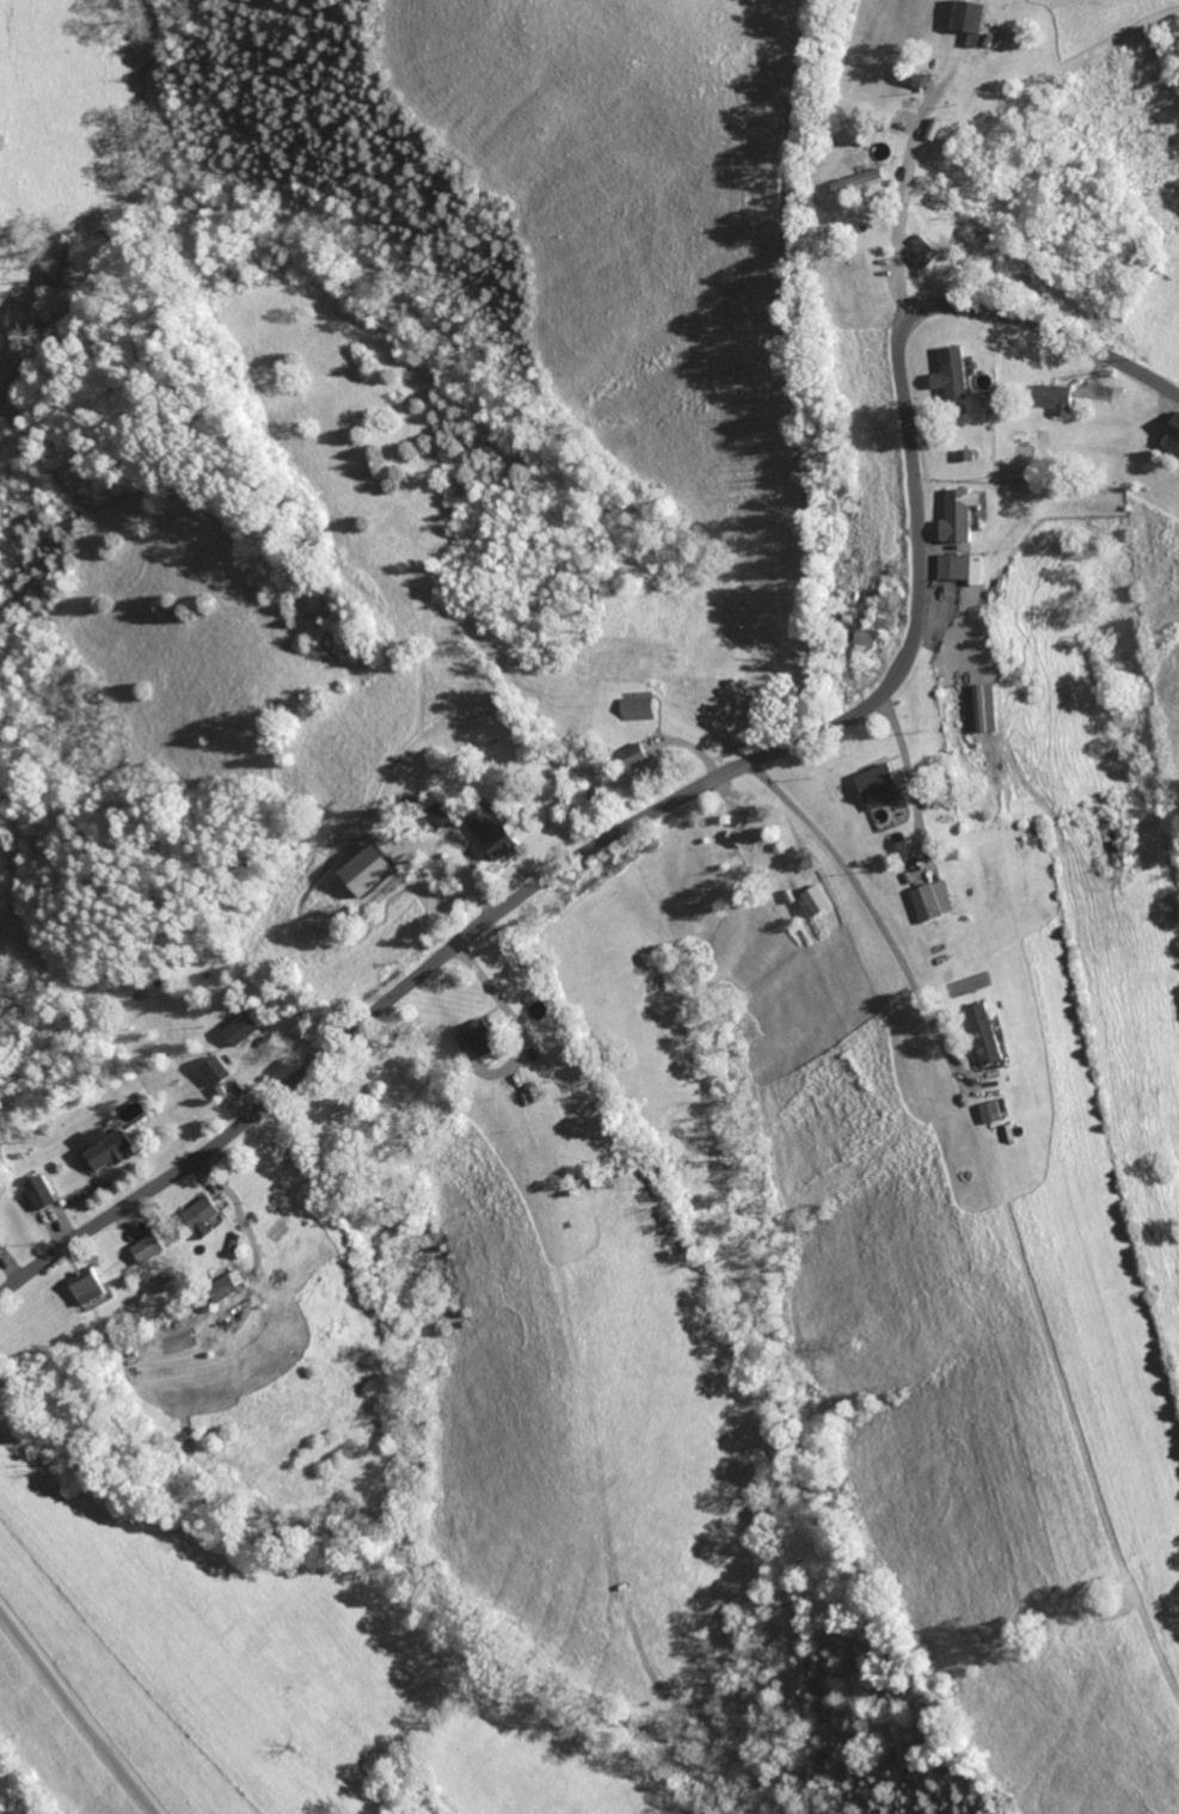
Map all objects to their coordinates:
building: (971, 19)
road: (907, 163)
building: (861, 180)
building: (925, 252)
building: (954, 373)
building: (1058, 398)
building: (1173, 439)
building: (960, 514)
building: (964, 568)
building: (889, 609)
building: (866, 639)
building: (639, 709)
building: (983, 709)
building: (638, 755)
road: (909, 778)
road: (706, 783)
building: (883, 786)
building: (496, 832)
building: (370, 870)
building: (817, 900)
building: (933, 901)
road: (870, 913)
road: (492, 992)
building: (244, 1029)
building: (987, 1034)
building: (484, 1040)
building: (217, 1071)
building: (993, 1113)
building: (108, 1151)
building: (41, 1193)
building: (205, 1214)
building: (147, 1250)
building: (91, 1289)
road: (732, 1393)
road: (76, 1711)

